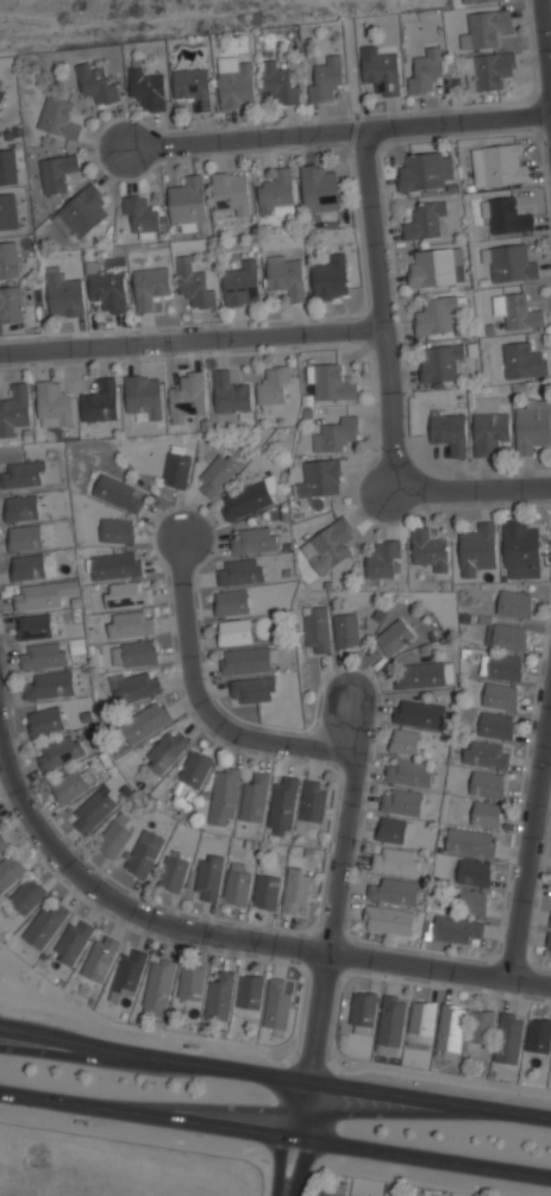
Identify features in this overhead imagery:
building: (480, 1)
building: (484, 29)
road: (545, 46)
building: (490, 69)
building: (426, 70)
building: (382, 71)
building: (326, 75)
building: (0, 80)
building: (278, 82)
building: (96, 83)
building: (236, 83)
building: (1, 87)
building: (192, 88)
building: (146, 89)
building: (1, 94)
building: (60, 118)
road: (339, 134)
building: (499, 164)
building: (8, 167)
building: (424, 170)
building: (58, 171)
building: (320, 189)
building: (276, 193)
building: (231, 194)
building: (188, 201)
building: (8, 211)
building: (82, 213)
building: (506, 214)
building: (143, 215)
building: (425, 219)
building: (10, 259)
building: (511, 262)
building: (437, 267)
building: (286, 276)
building: (331, 277)
building: (194, 283)
building: (242, 284)
building: (150, 286)
building: (109, 292)
building: (64, 296)
building: (12, 305)
road: (378, 311)
building: (516, 311)
building: (434, 315)
road: (189, 337)
building: (524, 359)
building: (439, 362)
building: (328, 381)
building: (275, 384)
building: (231, 393)
building: (144, 396)
building: (188, 396)
building: (101, 402)
building: (52, 403)
building: (14, 411)
building: (533, 425)
building: (449, 430)
building: (489, 432)
building: (336, 433)
building: (176, 466)
building: (218, 472)
building: (24, 474)
building: (319, 478)
road: (474, 488)
building: (118, 493)
building: (250, 497)
building: (21, 507)
building: (118, 530)
building: (25, 537)
building: (255, 539)
building: (330, 544)
building: (520, 545)
building: (477, 546)
building: (430, 547)
building: (383, 558)
building: (30, 565)
building: (115, 565)
building: (240, 570)
building: (127, 594)
building: (37, 596)
building: (233, 601)
building: (514, 603)
building: (131, 622)
building: (35, 626)
building: (317, 628)
building: (346, 628)
building: (236, 632)
building: (394, 635)
building: (506, 635)
building: (134, 652)
building: (43, 655)
building: (245, 660)
building: (501, 665)
building: (426, 674)
building: (50, 683)
building: (133, 684)
building: (253, 689)
building: (501, 695)
building: (419, 713)
building: (45, 719)
building: (145, 721)
road: (343, 722)
building: (495, 725)
building: (405, 740)
building: (60, 751)
building: (167, 751)
building: (486, 753)
building: (195, 770)
building: (408, 771)
road: (352, 781)
building: (71, 783)
building: (486, 783)
building: (224, 796)
building: (255, 797)
building: (401, 800)
building: (313, 801)
building: (283, 802)
building: (93, 809)
building: (483, 813)
building: (393, 829)
building: (115, 834)
building: (470, 841)
road: (531, 841)
building: (2, 845)
building: (144, 852)
building: (395, 859)
building: (11, 870)
building: (474, 871)
building: (173, 872)
building: (208, 876)
building: (238, 883)
building: (296, 890)
building: (265, 891)
building: (395, 891)
building: (27, 896)
building: (472, 901)
building: (388, 919)
building: (550, 922)
building: (45, 925)
building: (455, 927)
road: (232, 938)
building: (73, 941)
building: (549, 945)
building: (100, 957)
building: (130, 969)
building: (190, 983)
building: (158, 985)
building: (250, 990)
building: (220, 995)
building: (278, 1002)
building: (363, 1012)
building: (422, 1019)
building: (392, 1025)
building: (481, 1026)
building: (450, 1029)
road: (10, 1034)
building: (538, 1035)
building: (509, 1037)
road: (275, 1076)
road: (275, 1134)
road: (288, 1166)
building: (332, 1191)
building: (355, 1195)

